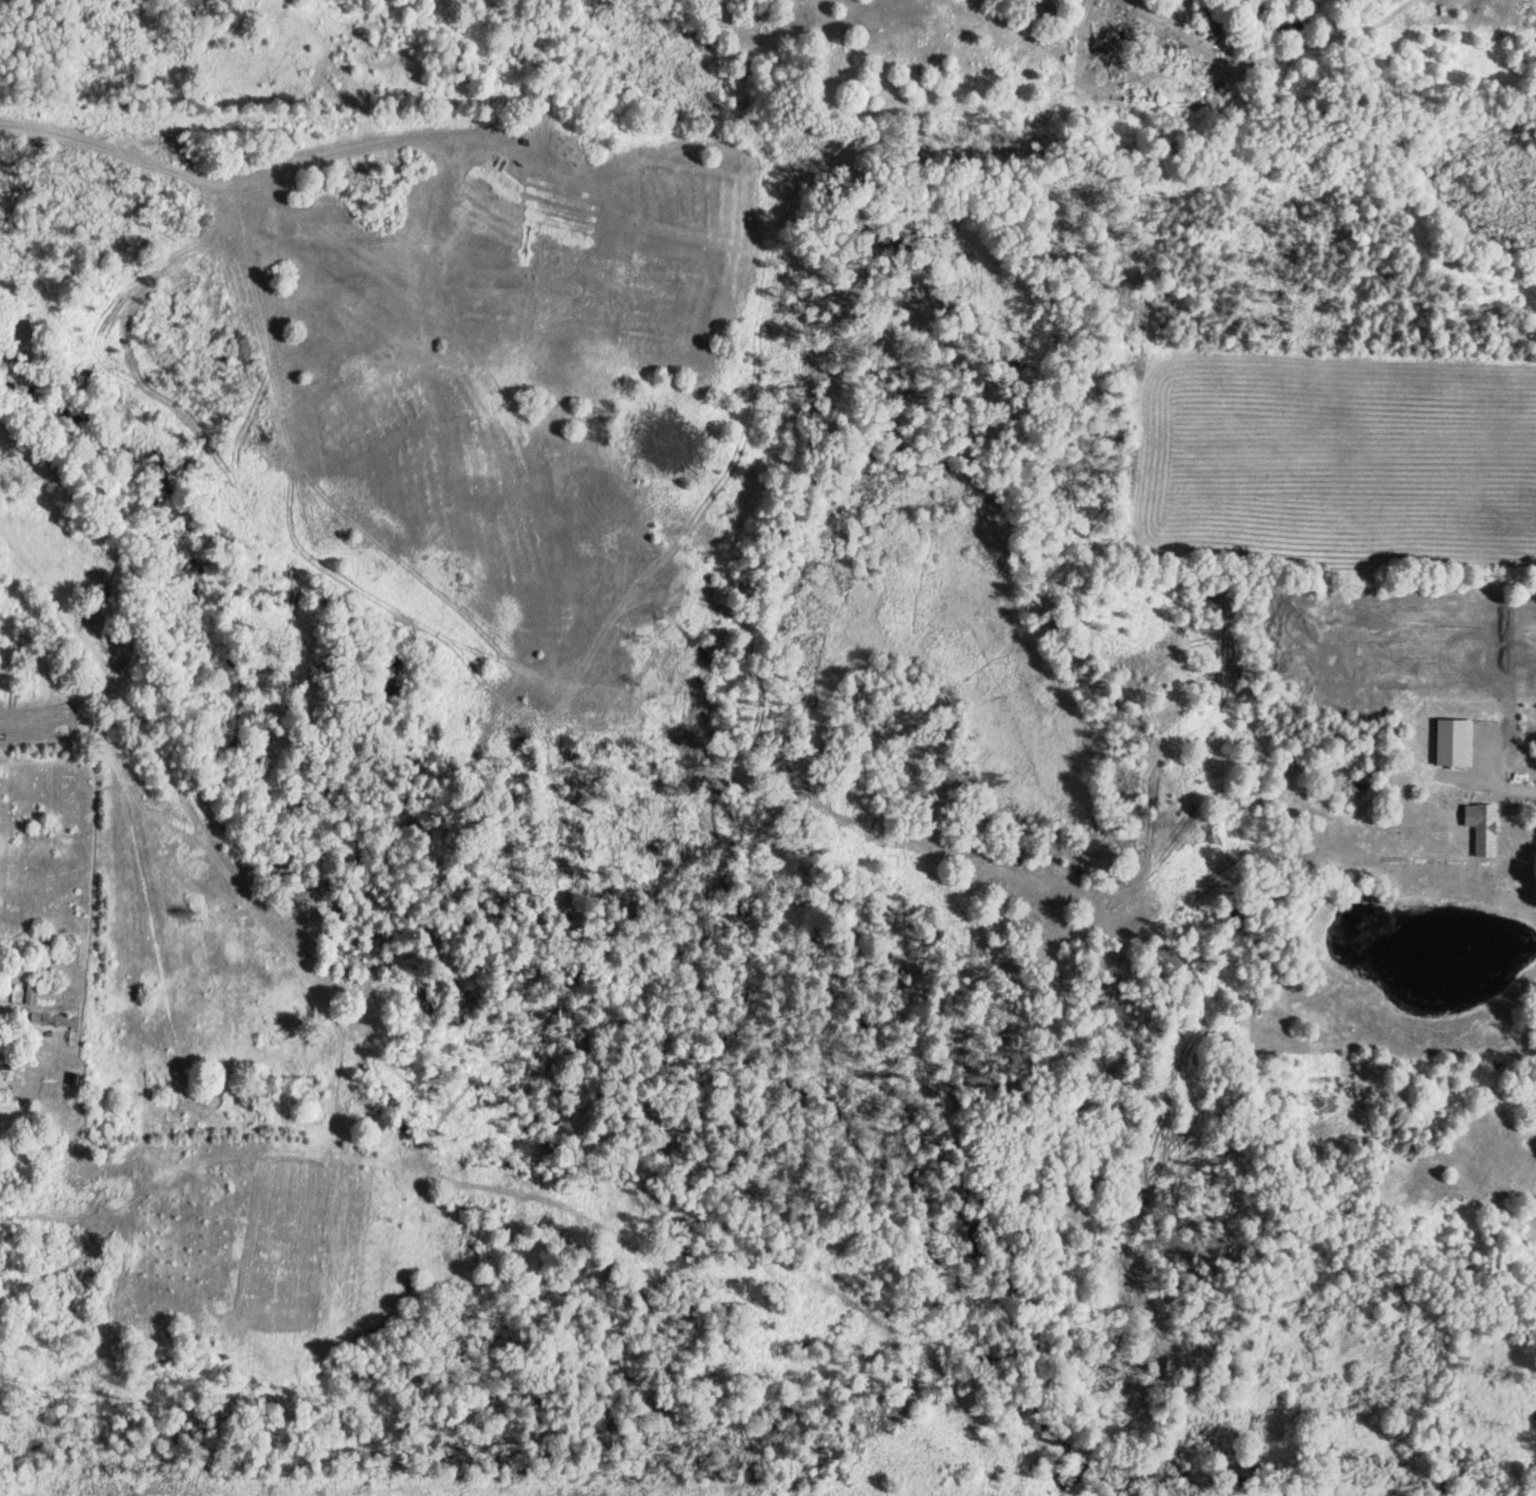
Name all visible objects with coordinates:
road: (289, 131)
building: (1454, 743)
building: (1477, 830)
building: (68, 1022)

